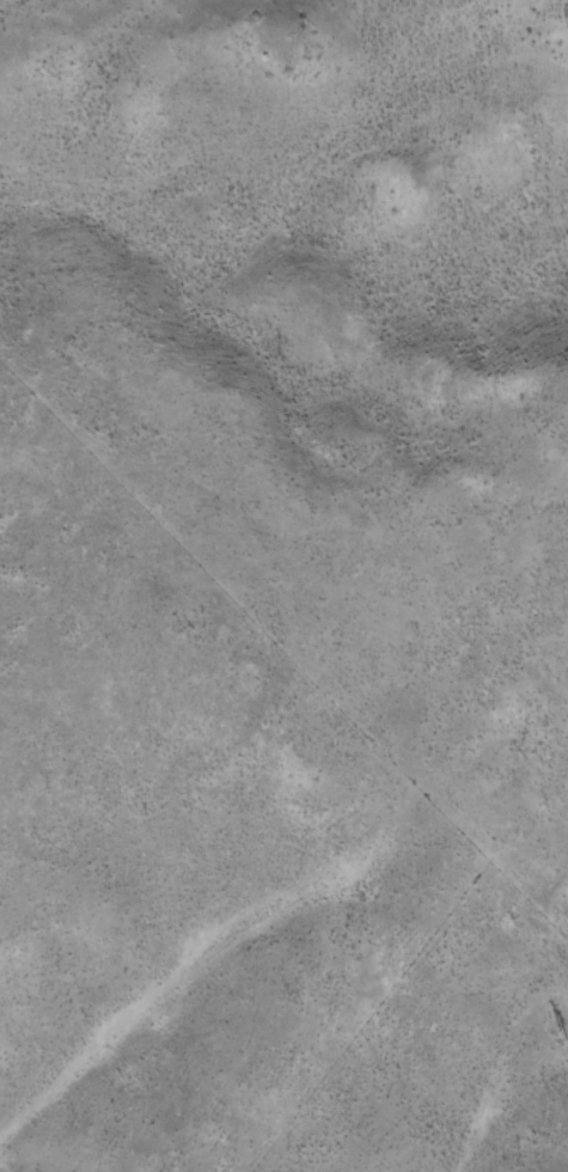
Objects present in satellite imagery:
power tower: (566, 1034)

